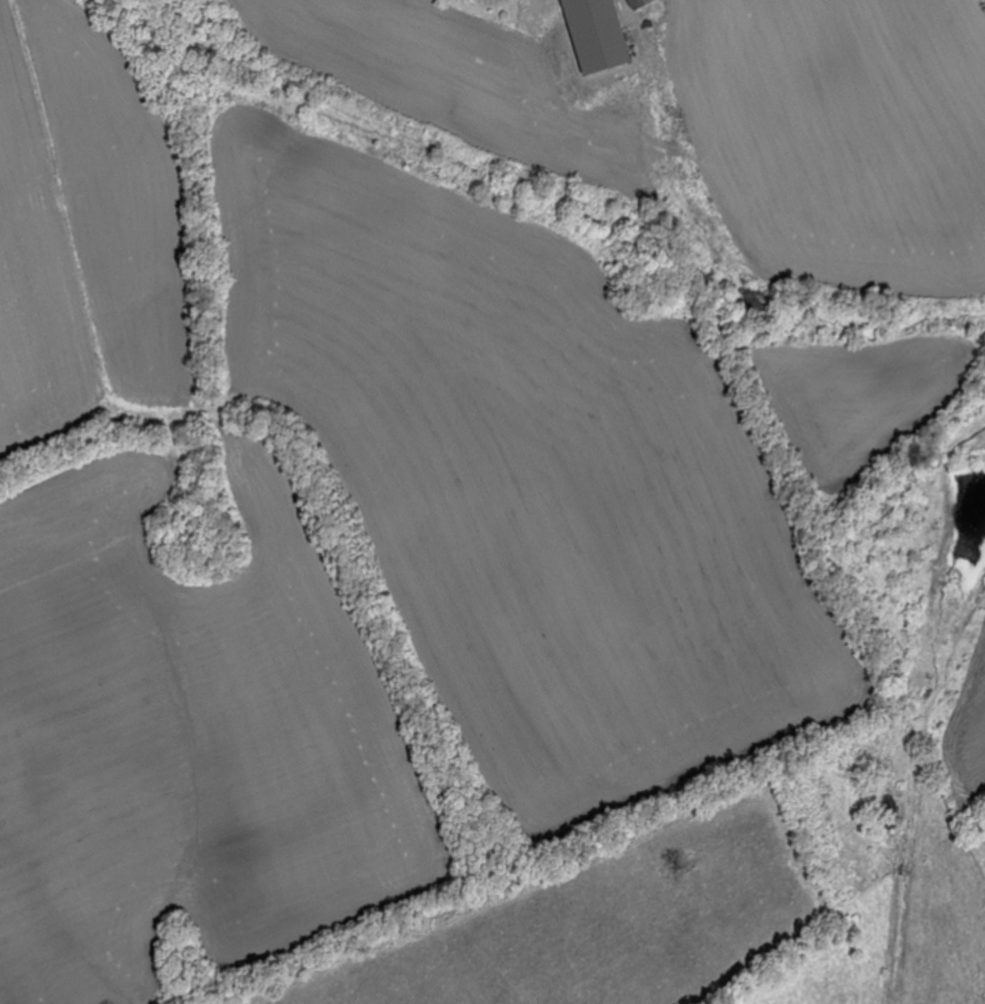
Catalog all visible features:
building: (639, 4)

